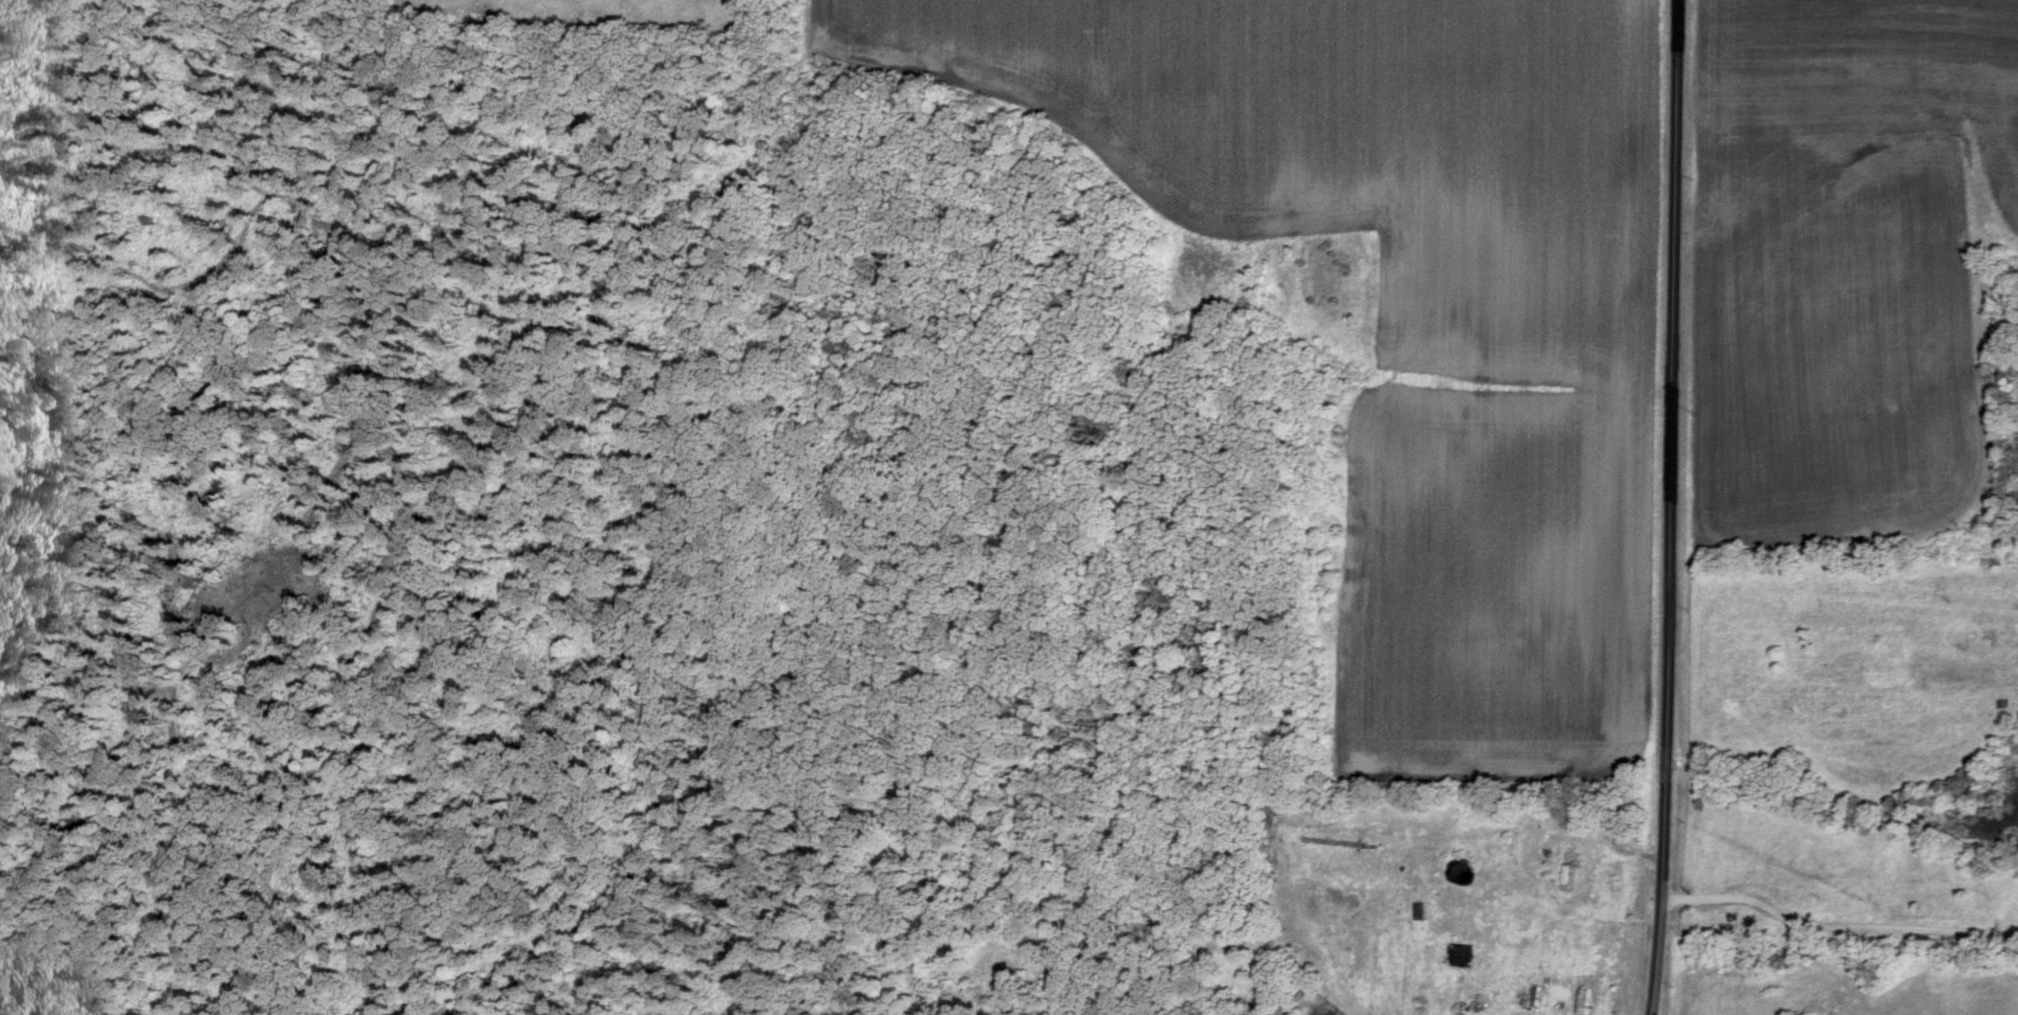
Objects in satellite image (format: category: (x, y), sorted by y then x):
road: (1674, 507)
building: (1571, 872)
road: (1837, 927)
building: (1465, 958)
building: (1585, 1002)

